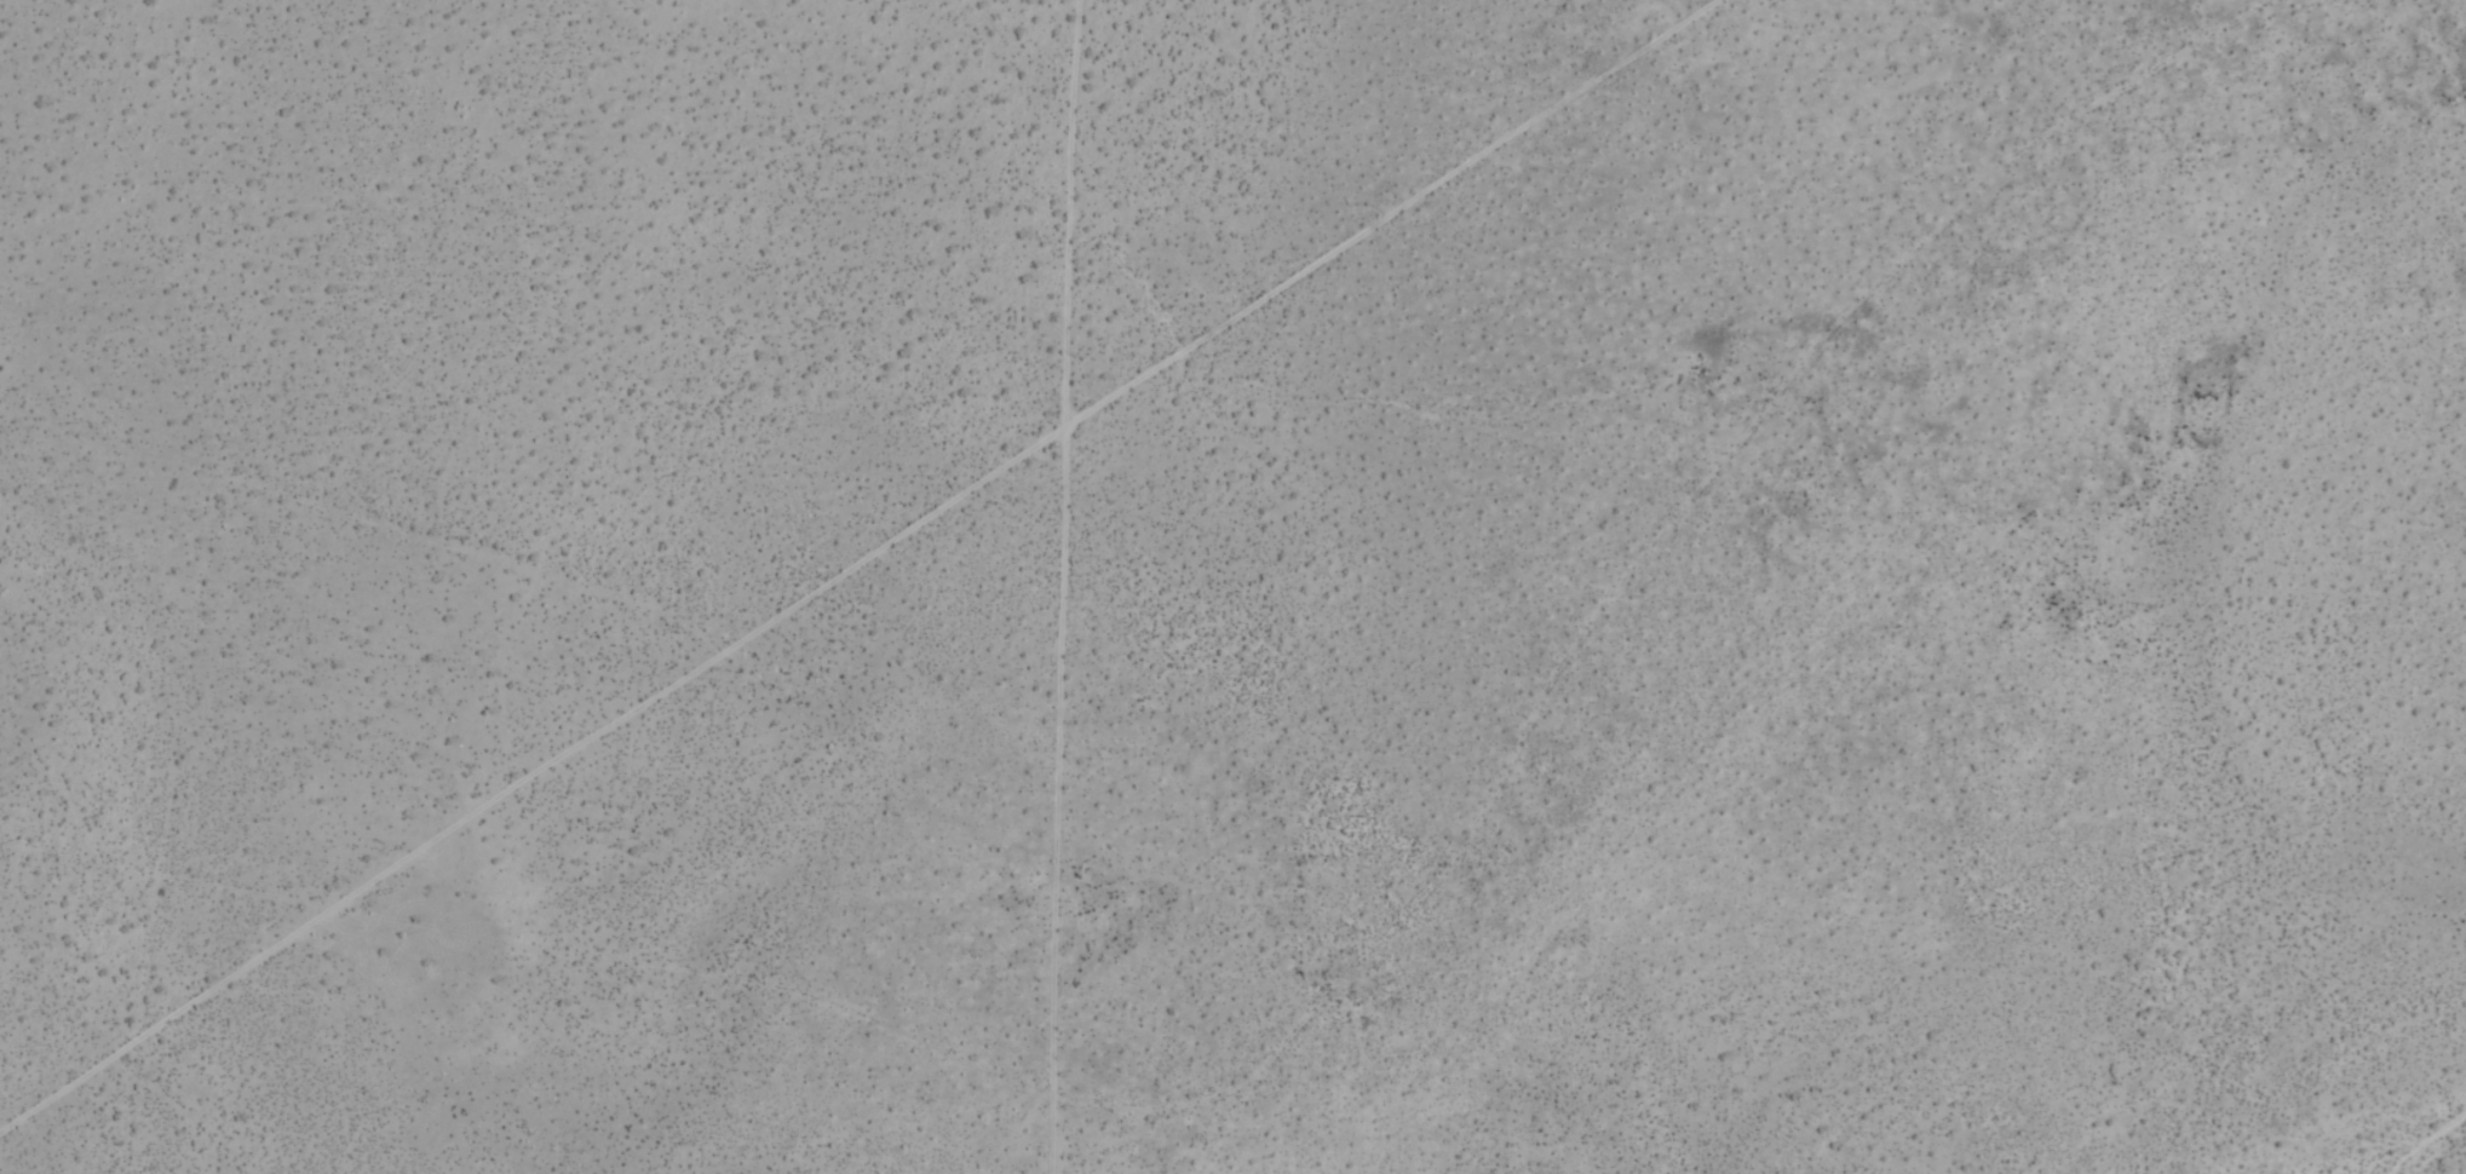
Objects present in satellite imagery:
road: (862, 563)

